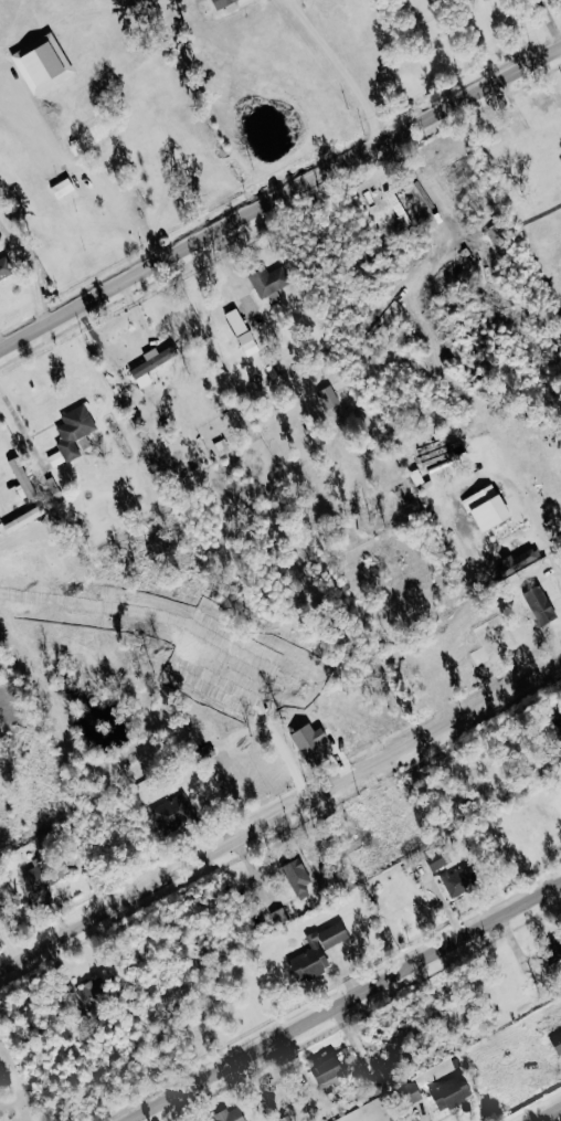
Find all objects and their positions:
road: (550, 21)
road: (515, 31)
road: (340, 66)
building: (89, 139)
building: (62, 188)
road: (279, 197)
road: (126, 214)
road: (29, 267)
building: (4, 269)
building: (268, 281)
building: (242, 332)
building: (152, 362)
building: (329, 398)
road: (21, 427)
building: (74, 431)
building: (55, 458)
building: (22, 479)
building: (488, 509)
building: (24, 519)
building: (541, 607)
road: (9, 622)
building: (560, 717)
building: (171, 811)
road: (280, 813)
building: (437, 858)
building: (46, 874)
building: (298, 877)
building: (459, 879)
road: (8, 943)
building: (319, 951)
building: (93, 994)
road: (341, 1000)
building: (555, 1040)
building: (329, 1071)
building: (411, 1091)
building: (452, 1091)
road: (546, 1112)
building: (229, 1114)

